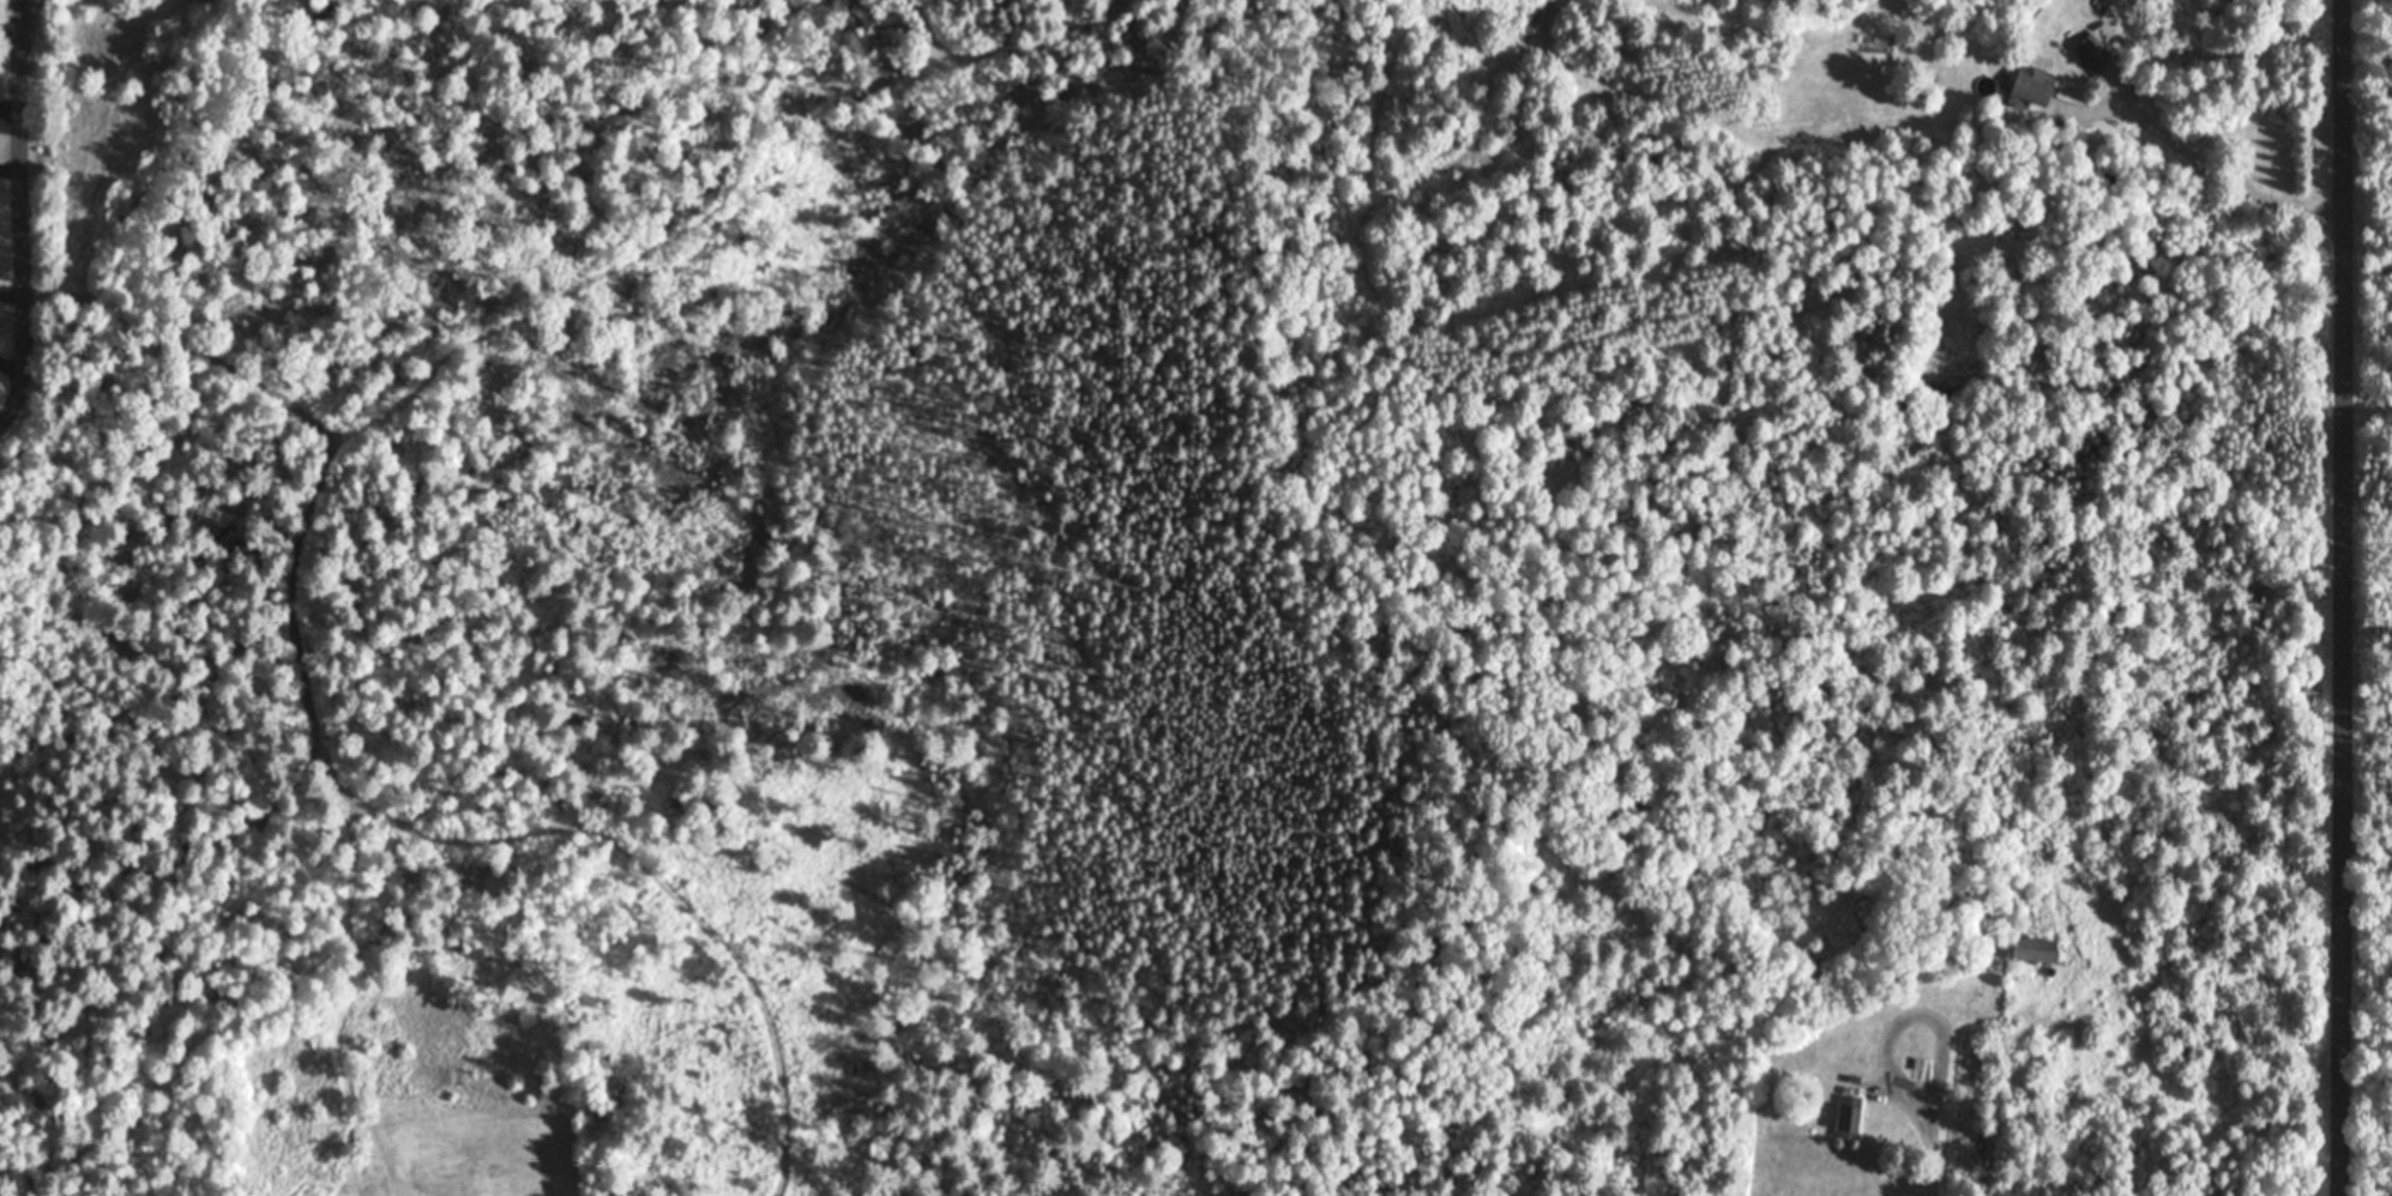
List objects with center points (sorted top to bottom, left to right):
building: (2092, 53)
building: (2033, 85)
road: (25, 204)
road: (2348, 597)
building: (2036, 950)
building: (1850, 1117)

